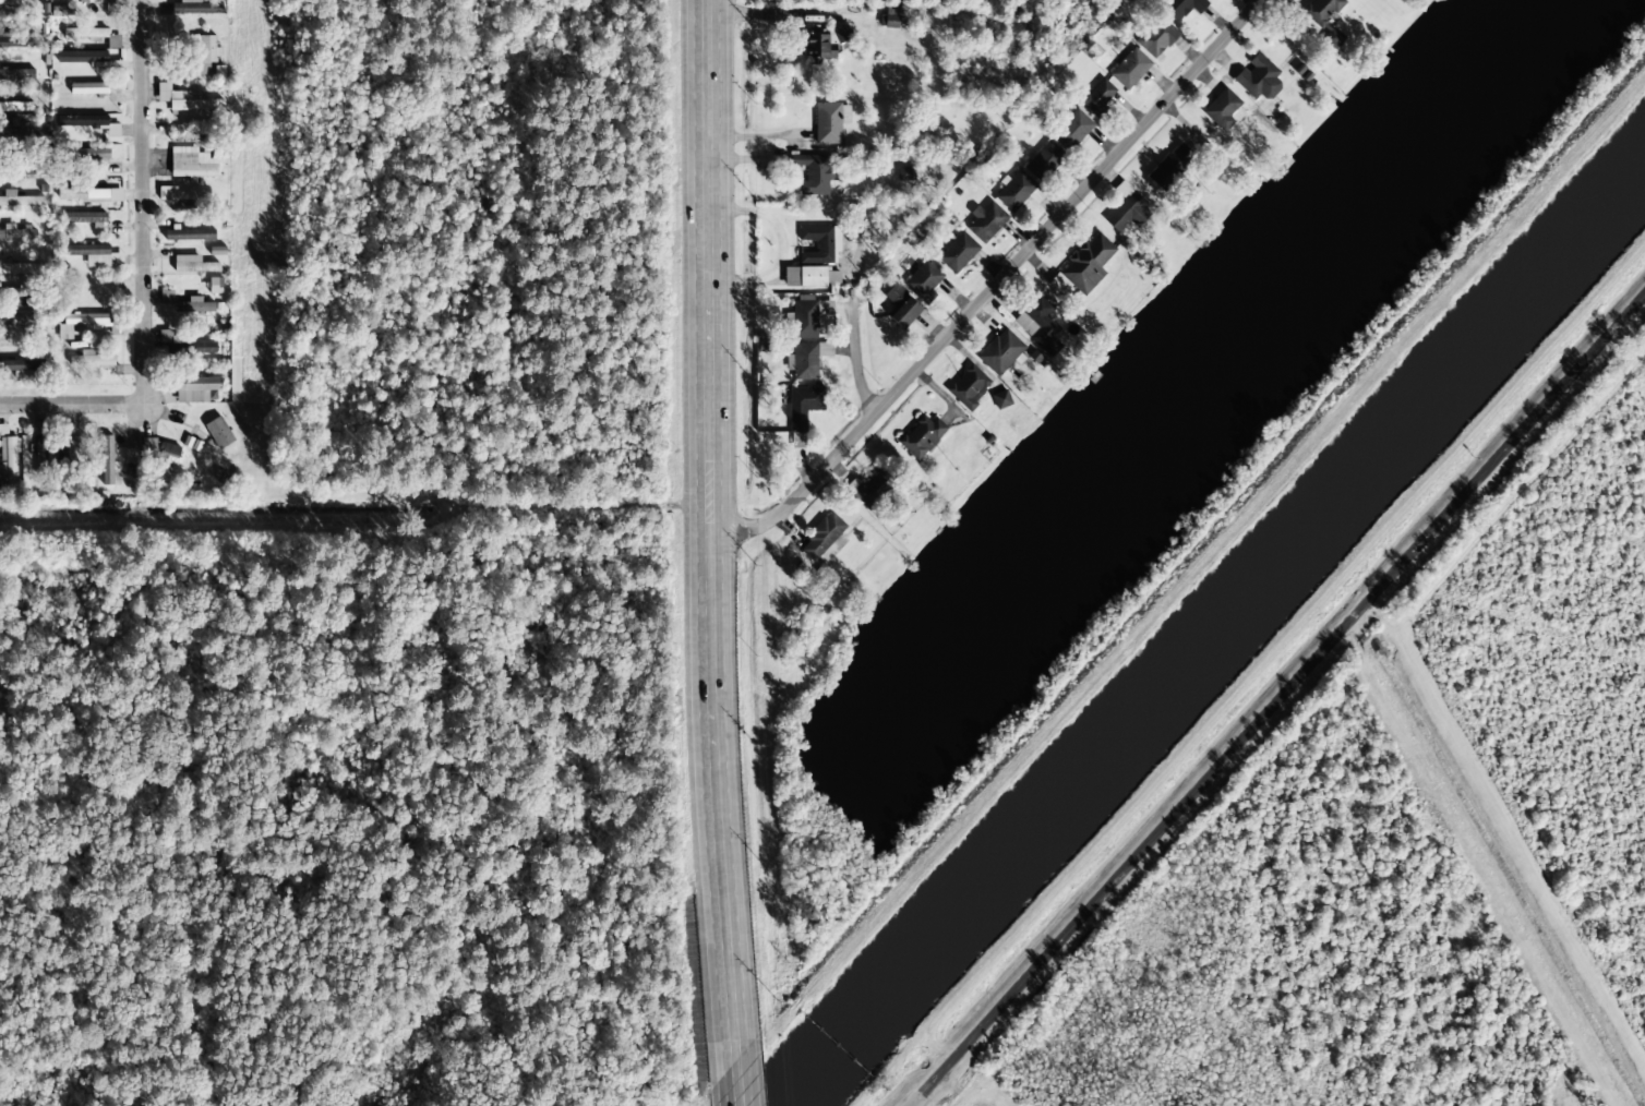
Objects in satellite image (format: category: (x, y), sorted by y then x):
building: (1180, 7)
building: (195, 8)
building: (889, 19)
building: (1323, 20)
building: (839, 34)
building: (89, 35)
building: (1154, 37)
building: (23, 39)
building: (38, 39)
building: (817, 47)
building: (201, 56)
building: (88, 59)
building: (1128, 69)
building: (16, 74)
building: (1253, 75)
building: (86, 88)
building: (1096, 97)
building: (185, 99)
building: (11, 106)
building: (1221, 110)
building: (86, 122)
building: (826, 124)
building: (1070, 130)
building: (15, 131)
building: (190, 139)
building: (82, 154)
building: (192, 161)
building: (1043, 161)
building: (1169, 167)
building: (22, 169)
building: (904, 173)
building: (816, 175)
building: (1014, 192)
building: (86, 194)
building: (167, 194)
building: (19, 200)
building: (1126, 209)
road: (143, 212)
building: (82, 218)
building: (985, 221)
building: (17, 233)
building: (192, 236)
building: (957, 253)
building: (93, 255)
building: (812, 259)
building: (191, 265)
building: (1082, 266)
building: (20, 268)
building: (922, 280)
building: (215, 287)
road: (992, 288)
building: (21, 301)
building: (188, 303)
building: (900, 308)
building: (807, 317)
building: (22, 321)
building: (80, 324)
building: (1037, 324)
building: (165, 336)
building: (203, 348)
building: (999, 352)
road: (851, 353)
building: (91, 360)
building: (807, 360)
building: (20, 366)
building: (968, 384)
building: (196, 389)
building: (1001, 399)
road: (59, 405)
building: (803, 406)
building: (201, 429)
building: (218, 432)
building: (921, 436)
building: (797, 441)
building: (149, 445)
building: (130, 448)
building: (41, 452)
building: (8, 457)
building: (64, 457)
building: (167, 457)
building: (107, 460)
building: (872, 489)
building: (821, 538)
road: (700, 539)
road: (1280, 701)
road: (737, 1092)

